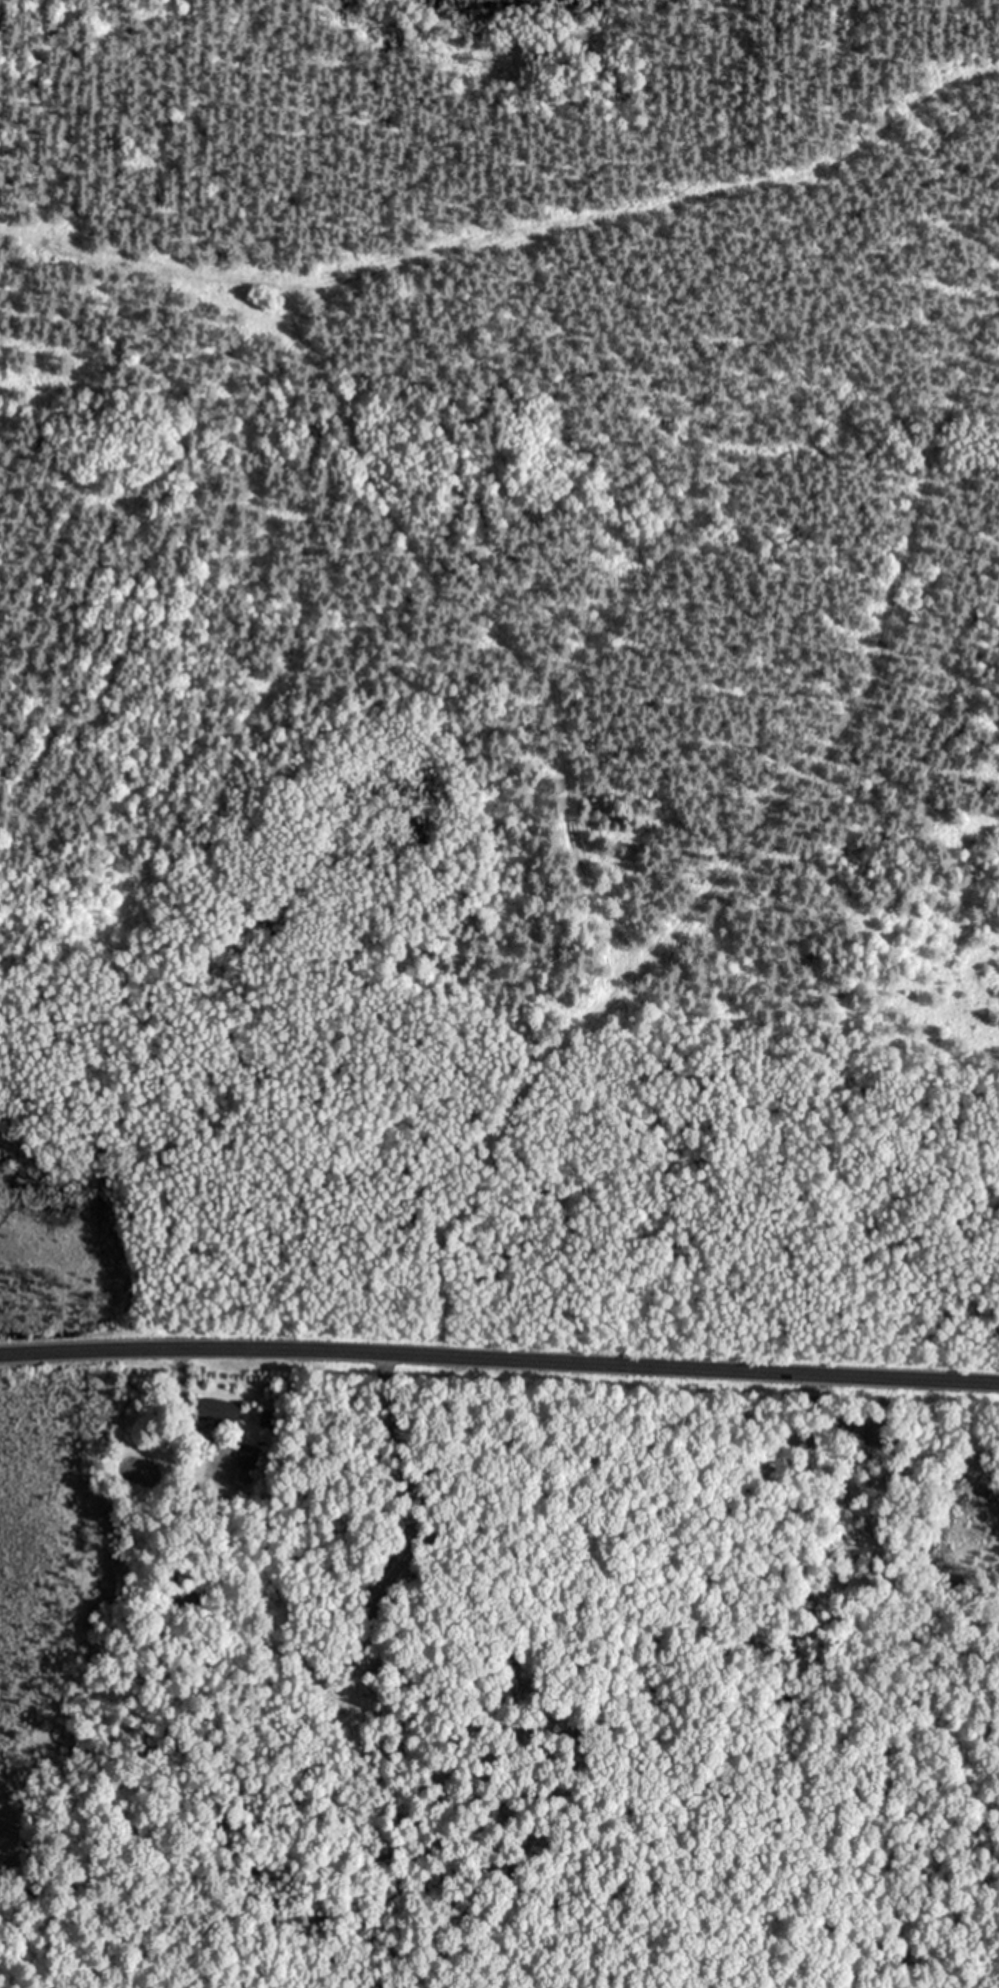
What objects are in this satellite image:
road: (514, 235)
road: (499, 1356)
road: (178, 1381)
building: (216, 1411)

